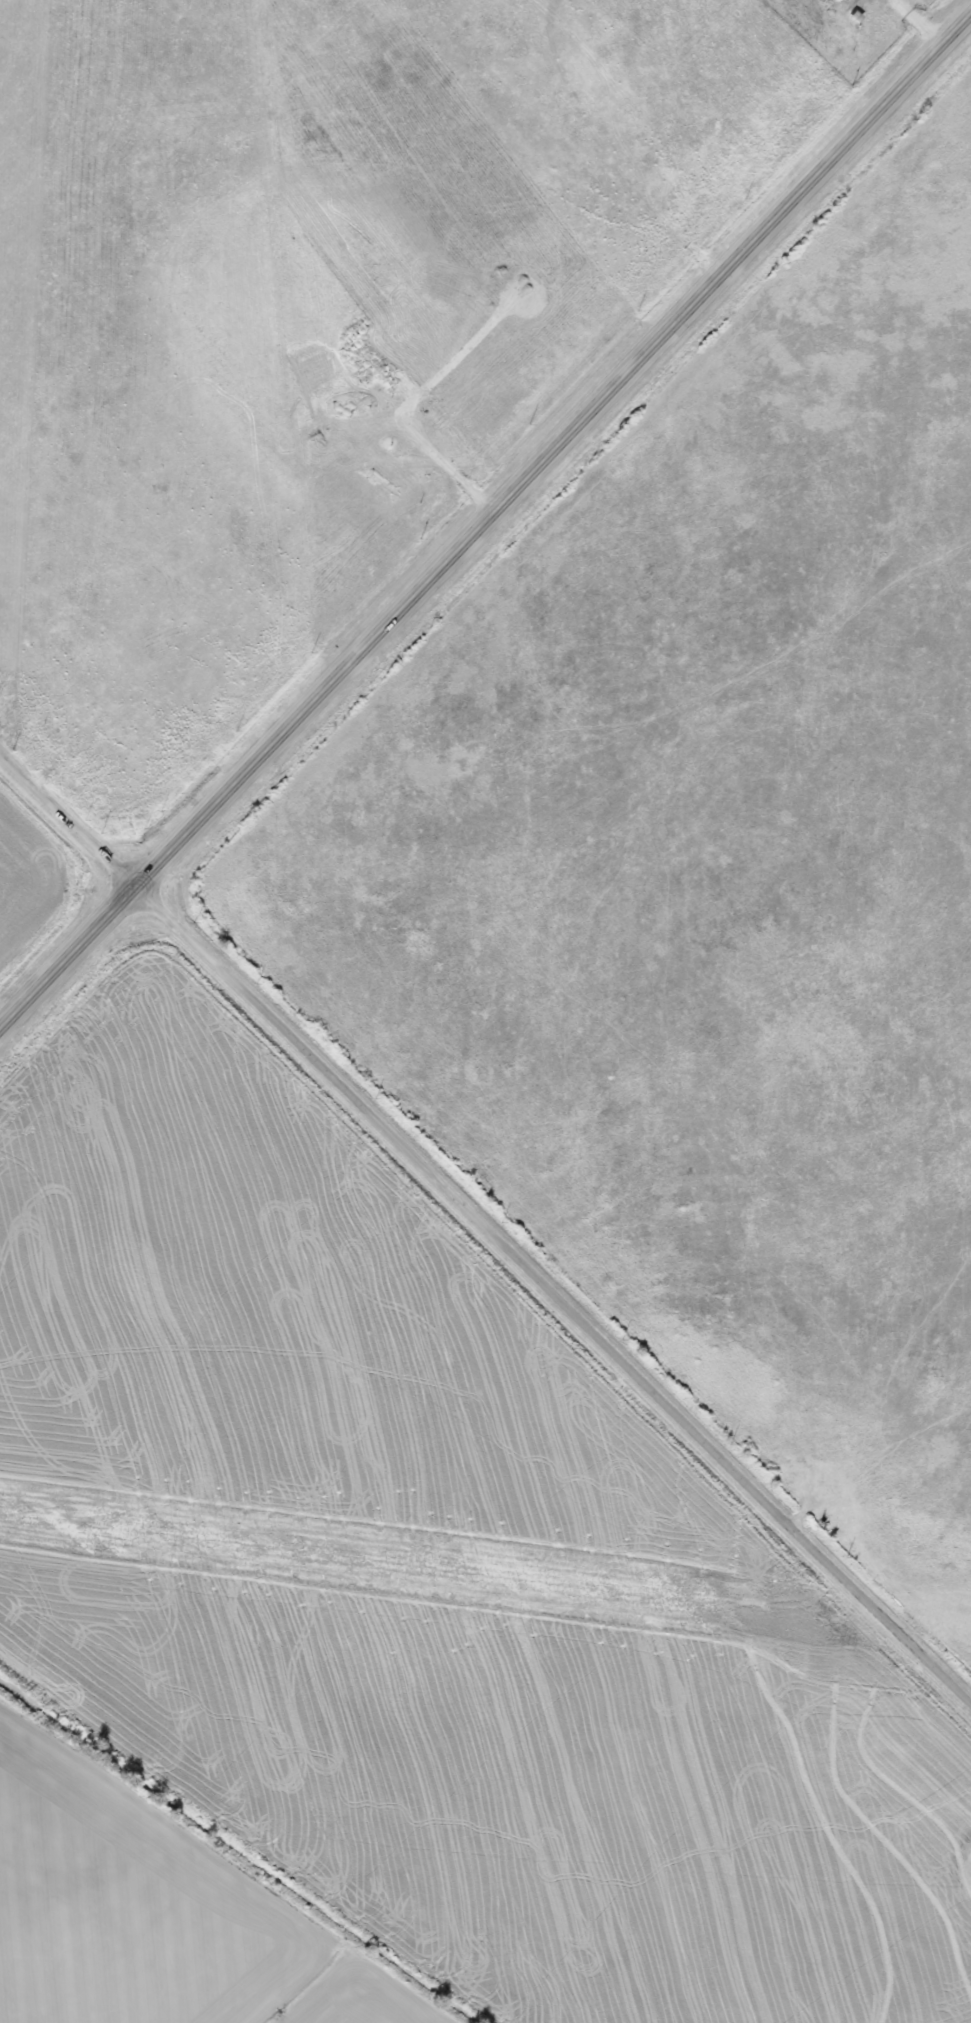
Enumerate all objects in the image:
road: (487, 518)
road: (68, 818)
road: (556, 1290)

